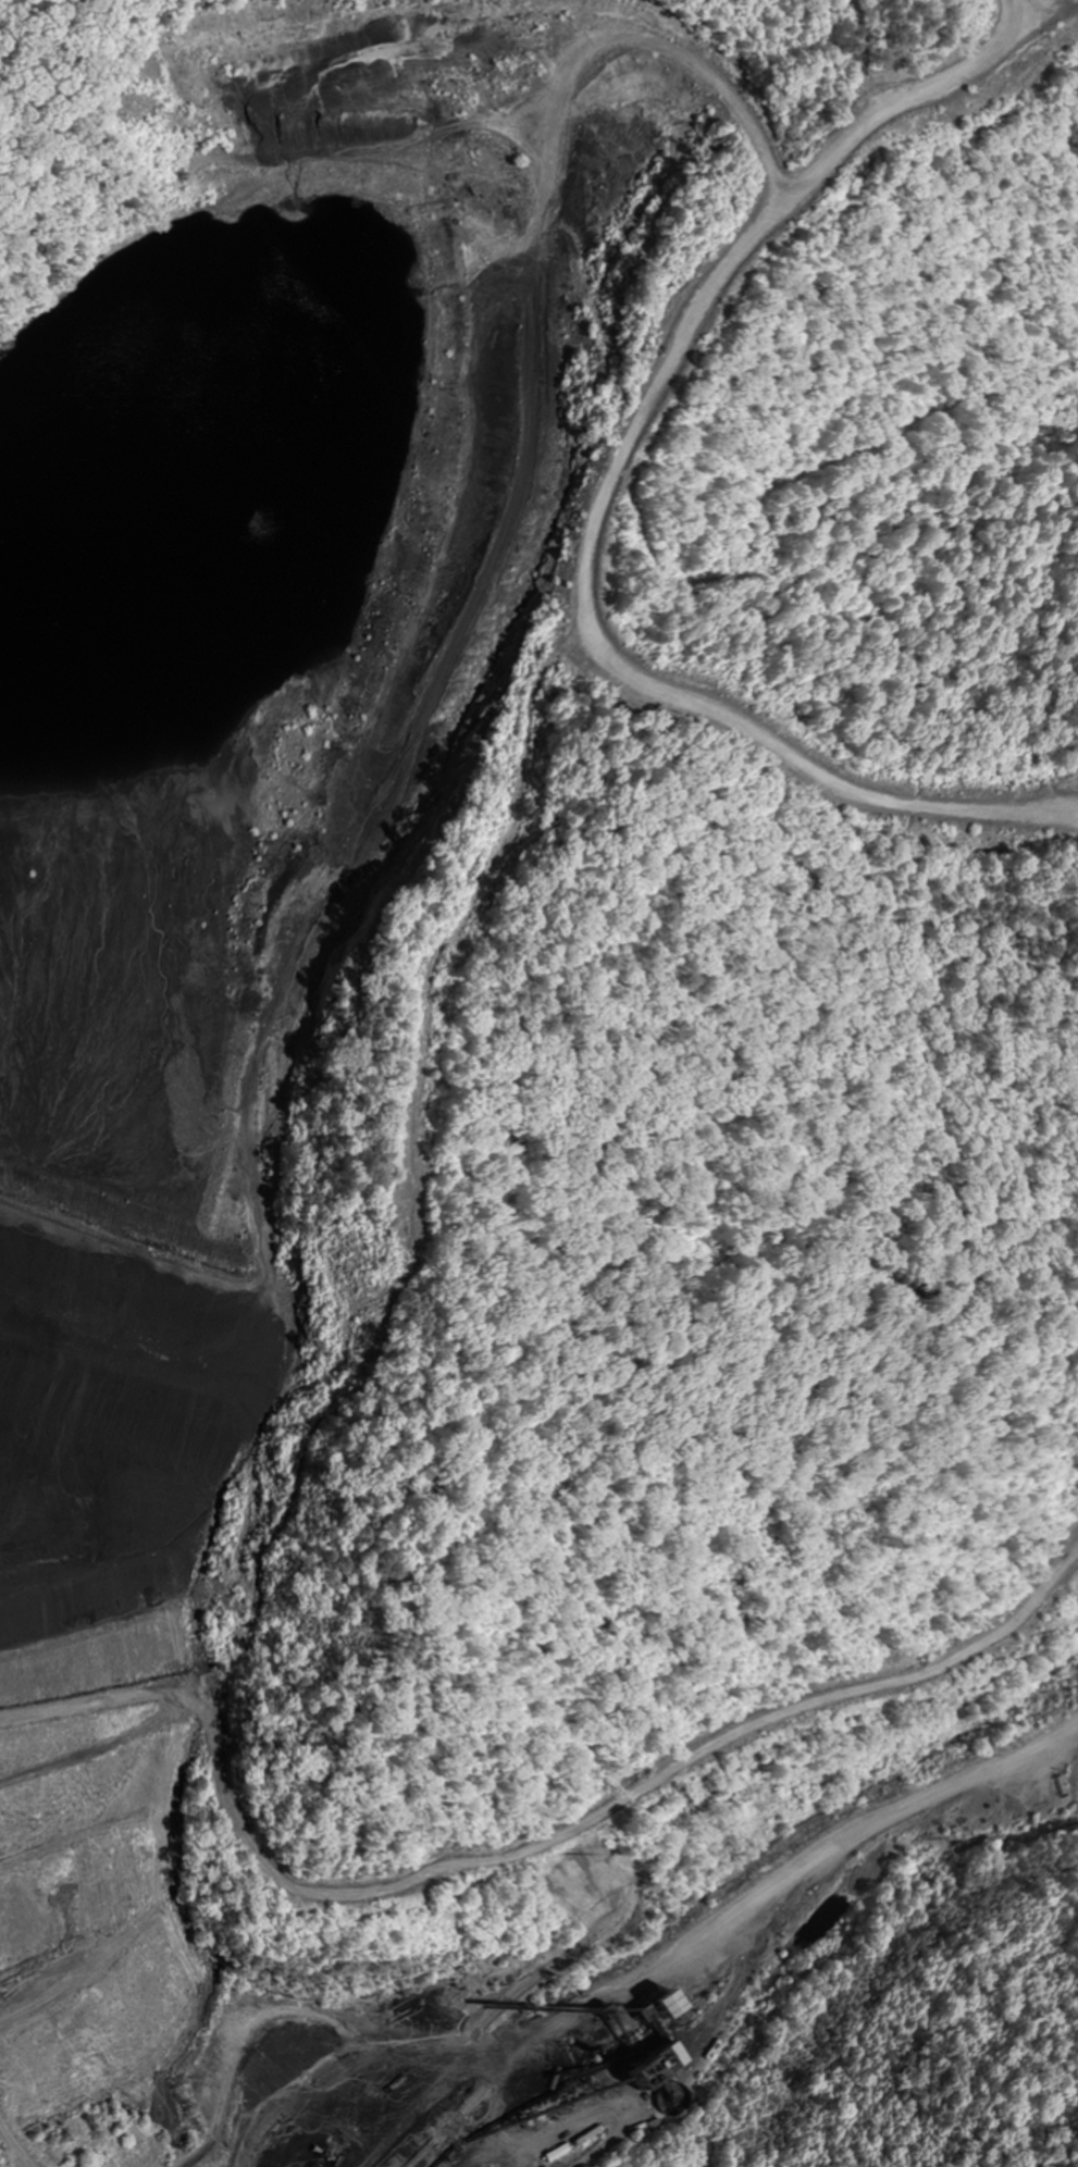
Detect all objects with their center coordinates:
quarry: (480, 1097)
building: (647, 2005)
building: (655, 2056)

